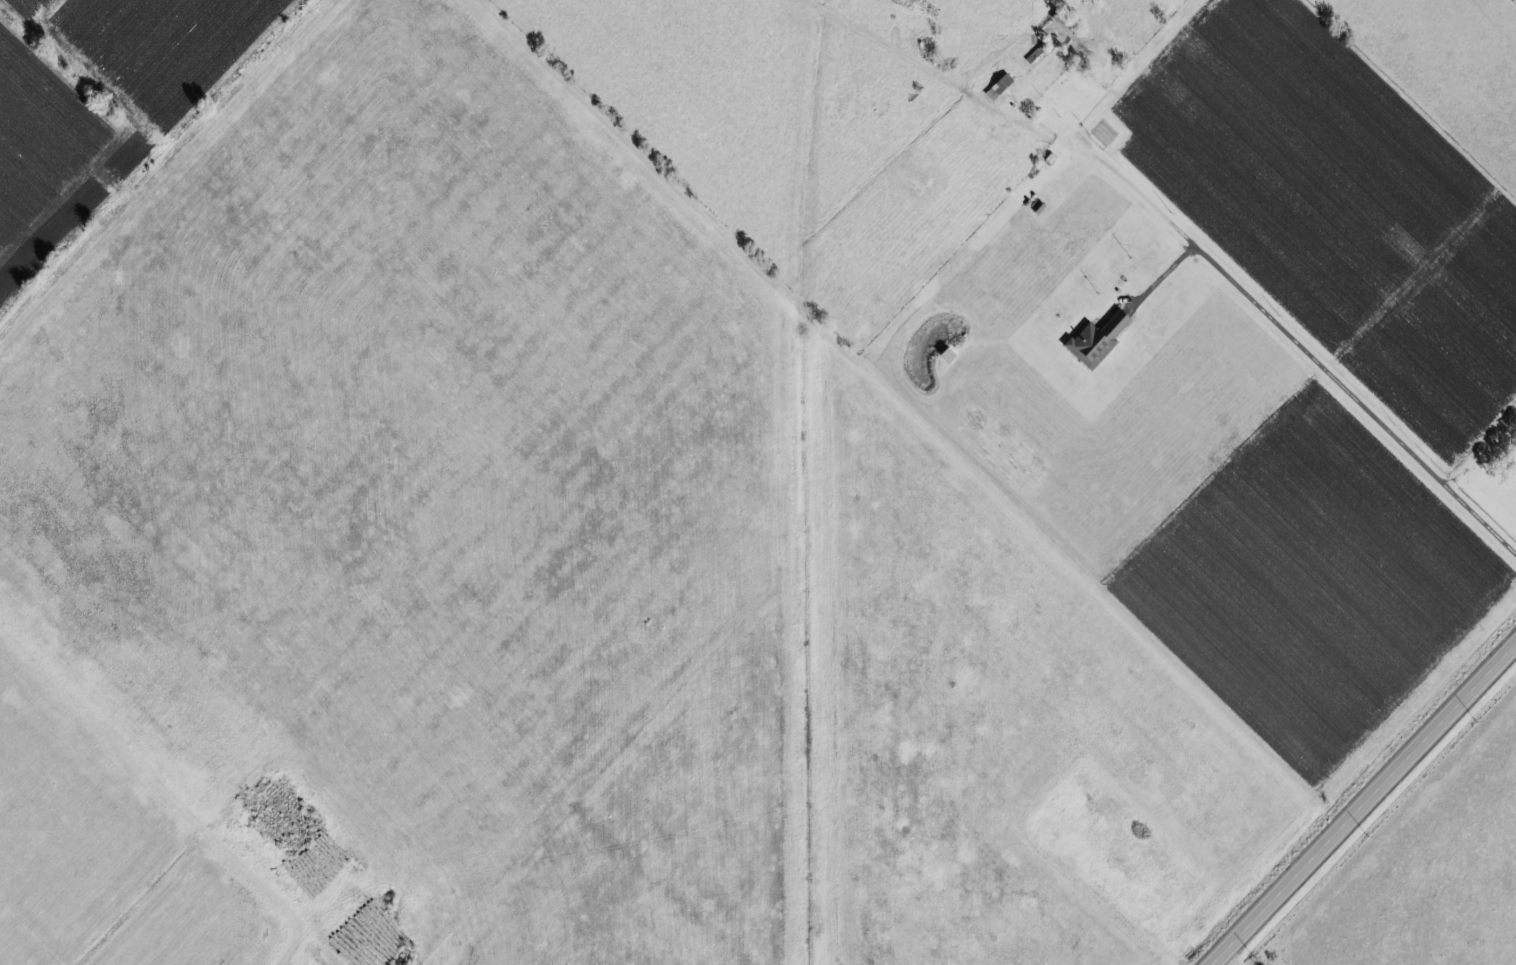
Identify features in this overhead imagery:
building: (997, 87)
road: (1189, 238)
road: (1164, 277)
building: (1094, 341)
building: (945, 355)
road: (1356, 799)
road: (299, 944)
road: (1221, 959)

